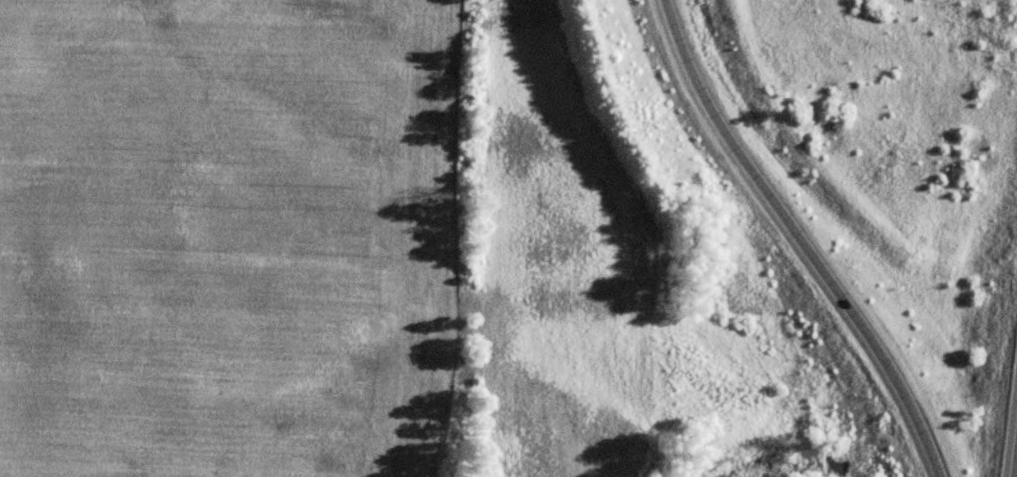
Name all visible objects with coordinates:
road: (798, 239)
road: (1016, 474)

